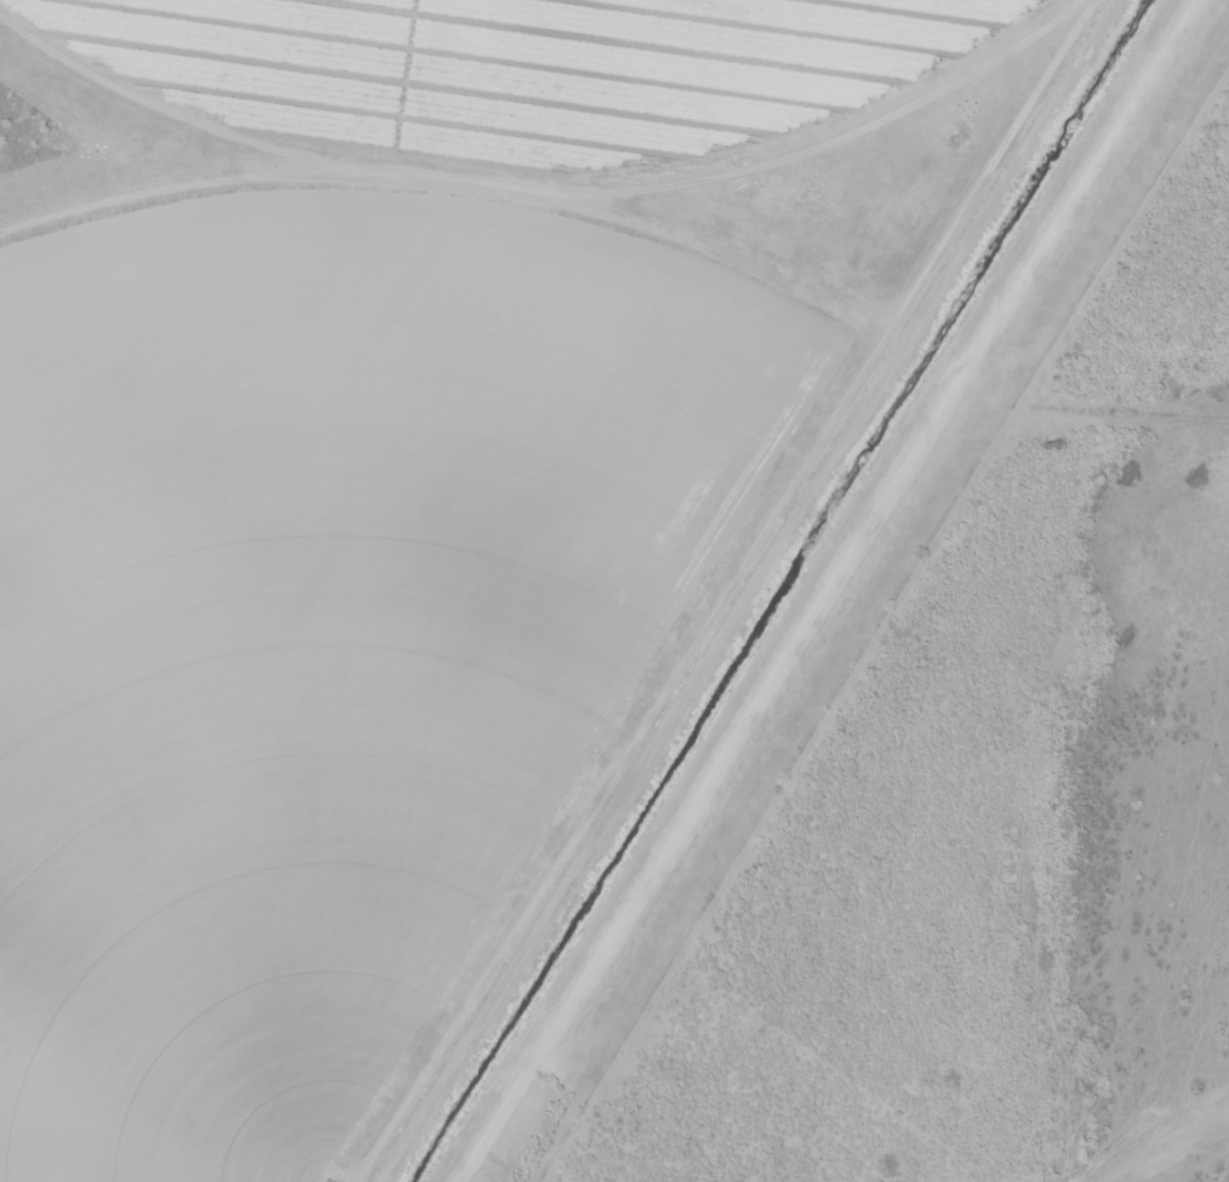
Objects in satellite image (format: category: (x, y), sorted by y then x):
road: (727, 594)

